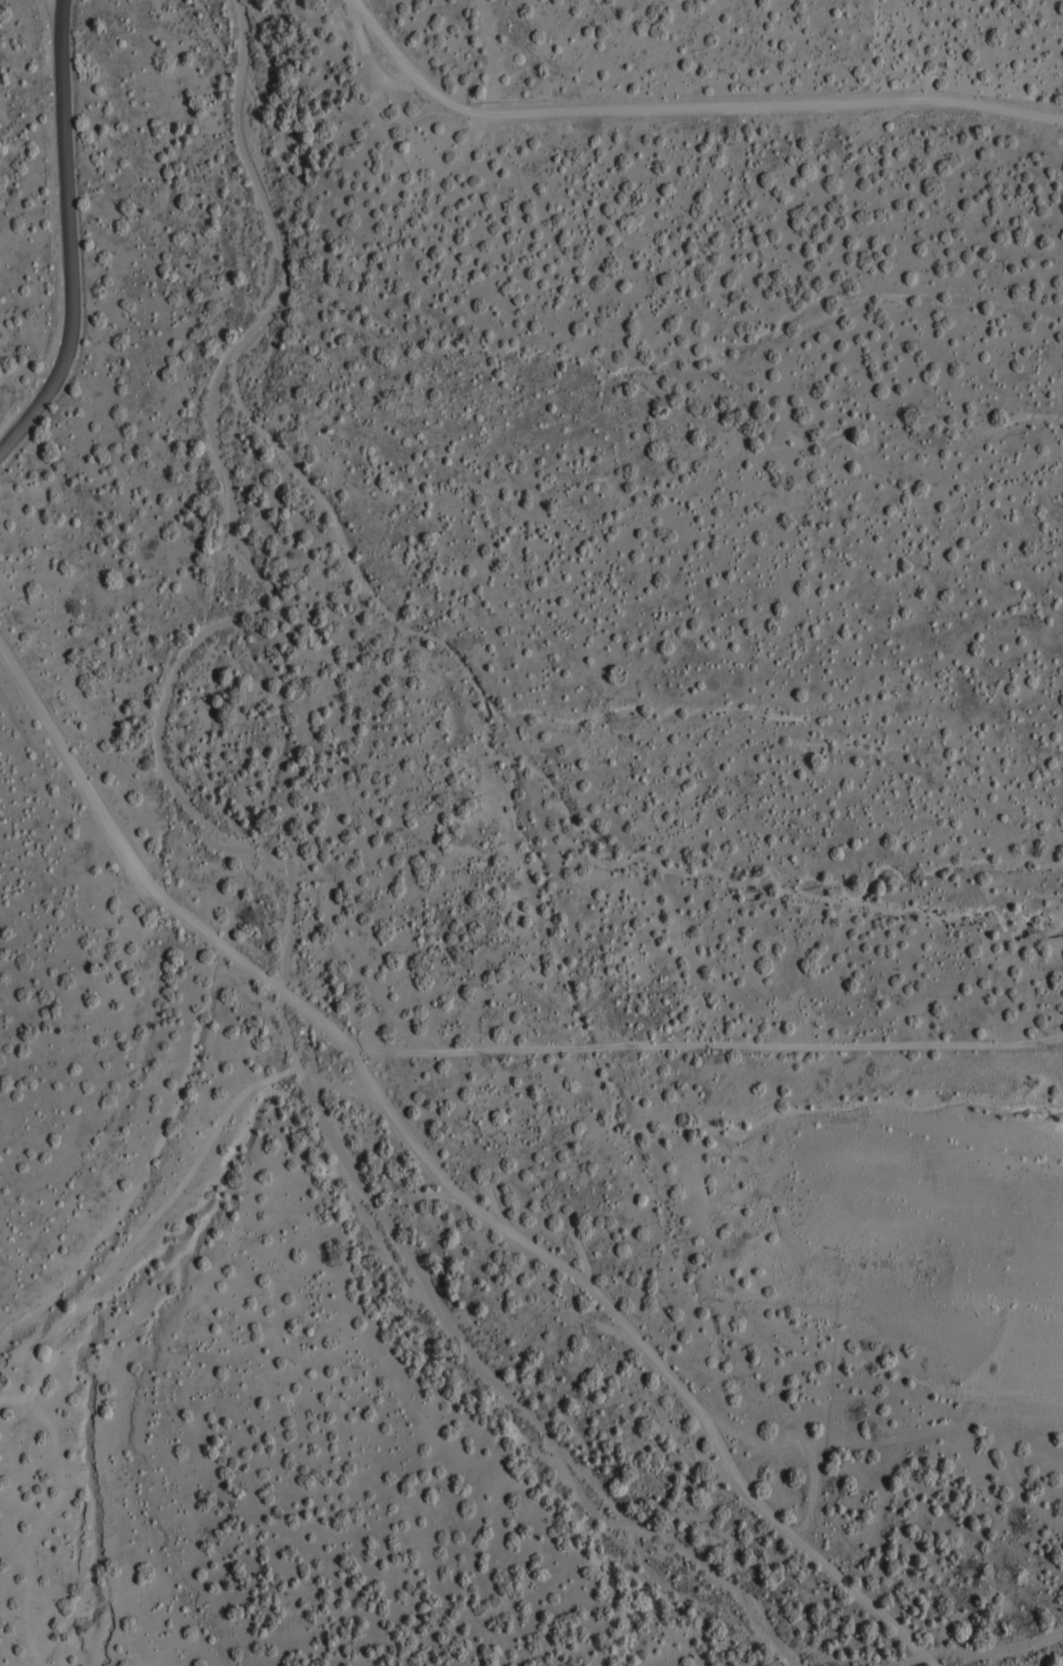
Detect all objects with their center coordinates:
road: (69, 235)
road: (445, 1168)
road: (879, 1444)
road: (991, 1647)

